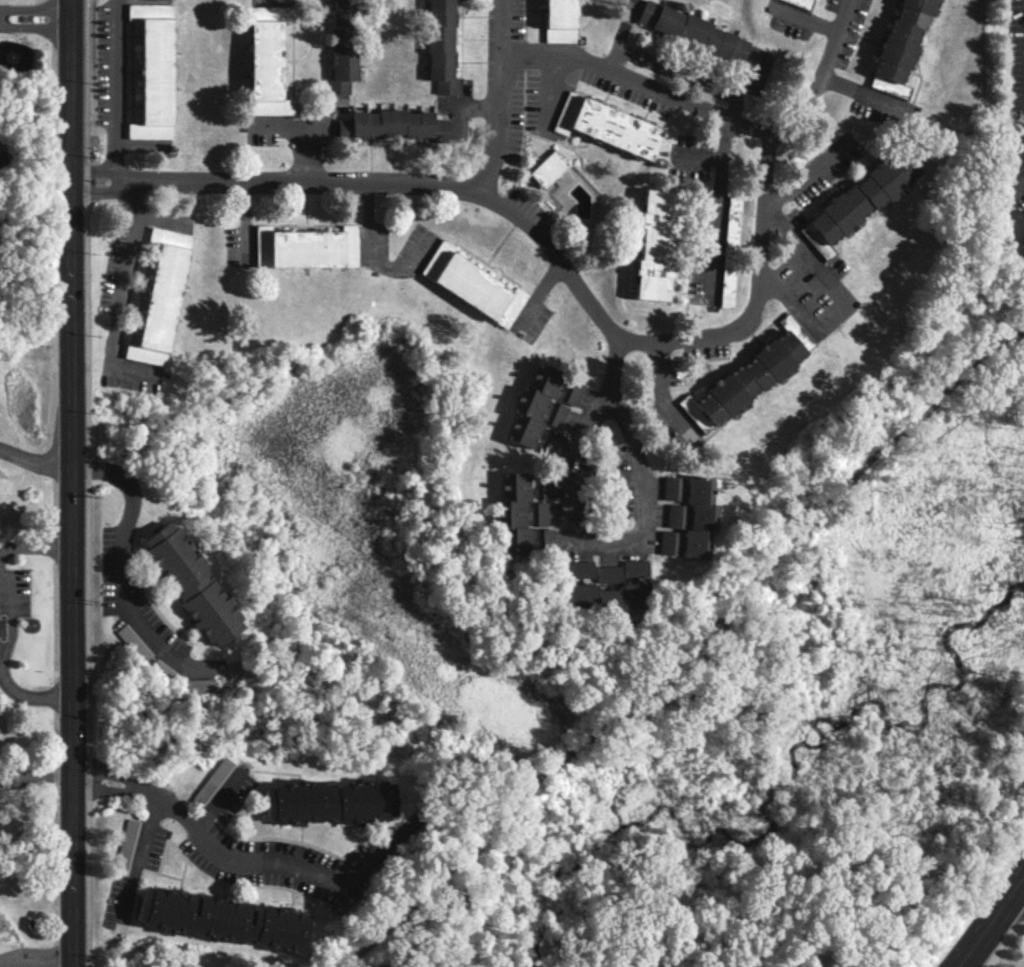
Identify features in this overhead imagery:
building: (799, 2)
road: (34, 14)
road: (805, 19)
building: (558, 21)
building: (691, 31)
road: (617, 37)
building: (440, 46)
building: (900, 46)
building: (266, 60)
building: (153, 71)
road: (695, 77)
road: (116, 91)
road: (861, 91)
road: (549, 93)
road: (499, 97)
road: (469, 103)
road: (731, 108)
road: (713, 117)
building: (392, 124)
building: (606, 126)
road: (294, 136)
building: (2, 155)
road: (696, 156)
building: (547, 169)
road: (806, 173)
road: (405, 180)
road: (1017, 186)
road: (716, 209)
road: (243, 220)
building: (1022, 239)
building: (654, 245)
building: (305, 247)
building: (729, 252)
road: (370, 257)
road: (127, 268)
building: (472, 284)
road: (535, 292)
building: (160, 298)
road: (843, 298)
road: (762, 300)
building: (748, 376)
road: (660, 390)
building: (571, 392)
building: (533, 405)
building: (555, 414)
building: (549, 441)
road: (35, 461)
road: (71, 483)
road: (85, 483)
building: (543, 487)
building: (670, 488)
road: (568, 496)
building: (694, 506)
building: (514, 514)
building: (538, 518)
building: (544, 538)
building: (666, 543)
road: (122, 544)
building: (691, 544)
road: (34, 546)
building: (580, 569)
building: (191, 584)
building: (610, 590)
building: (133, 642)
road: (684, 643)
road: (1, 663)
building: (163, 670)
building: (199, 684)
road: (36, 775)
road: (215, 801)
building: (327, 802)
road: (202, 837)
road: (138, 856)
road: (374, 856)
road: (1018, 900)
building: (222, 919)
road: (992, 924)
road: (36, 963)

